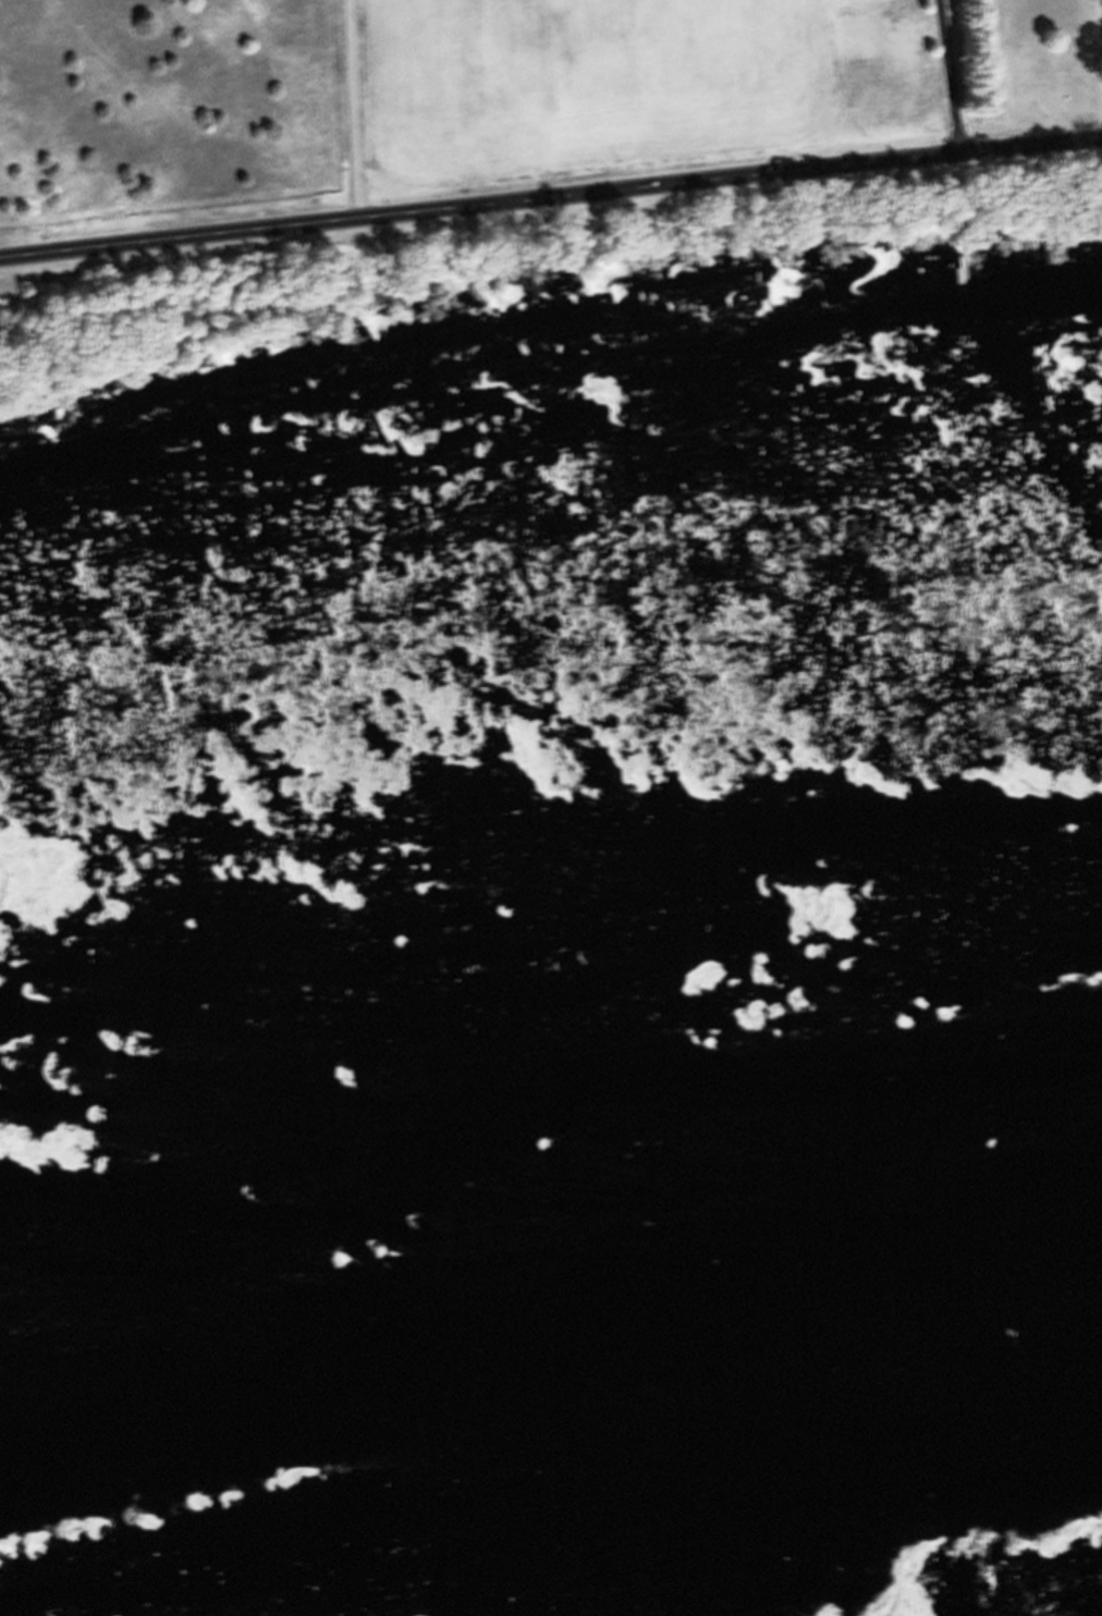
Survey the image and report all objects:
road: (1098, 49)
road: (947, 83)
road: (354, 115)
road: (550, 206)
river: (551, 1315)

